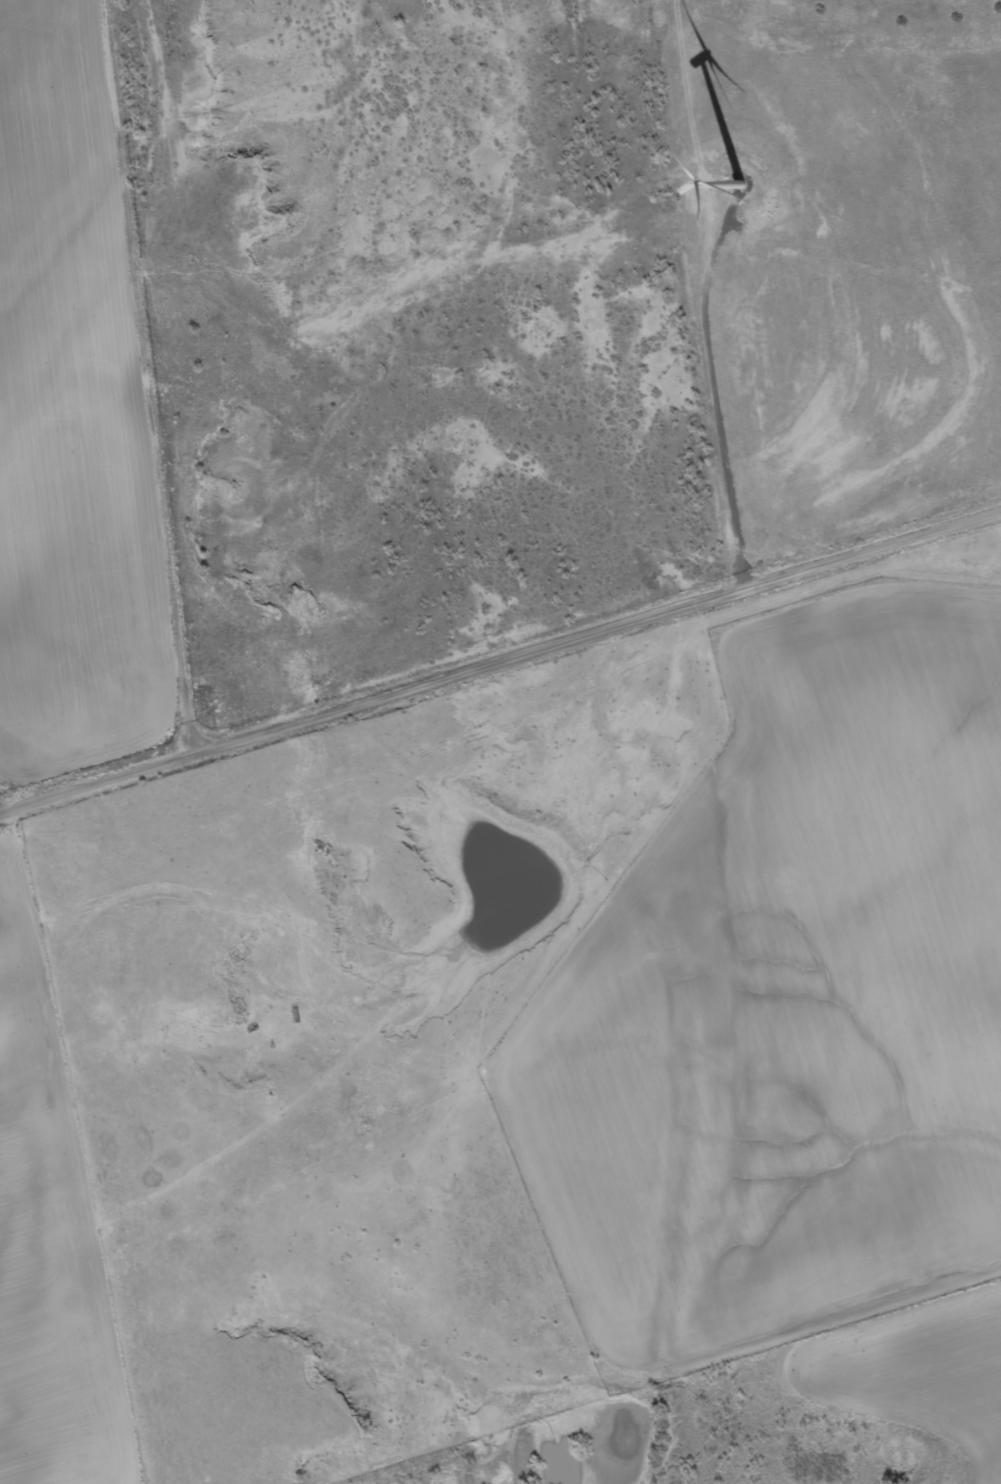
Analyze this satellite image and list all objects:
wind turbine: (741, 186)
road: (500, 663)

